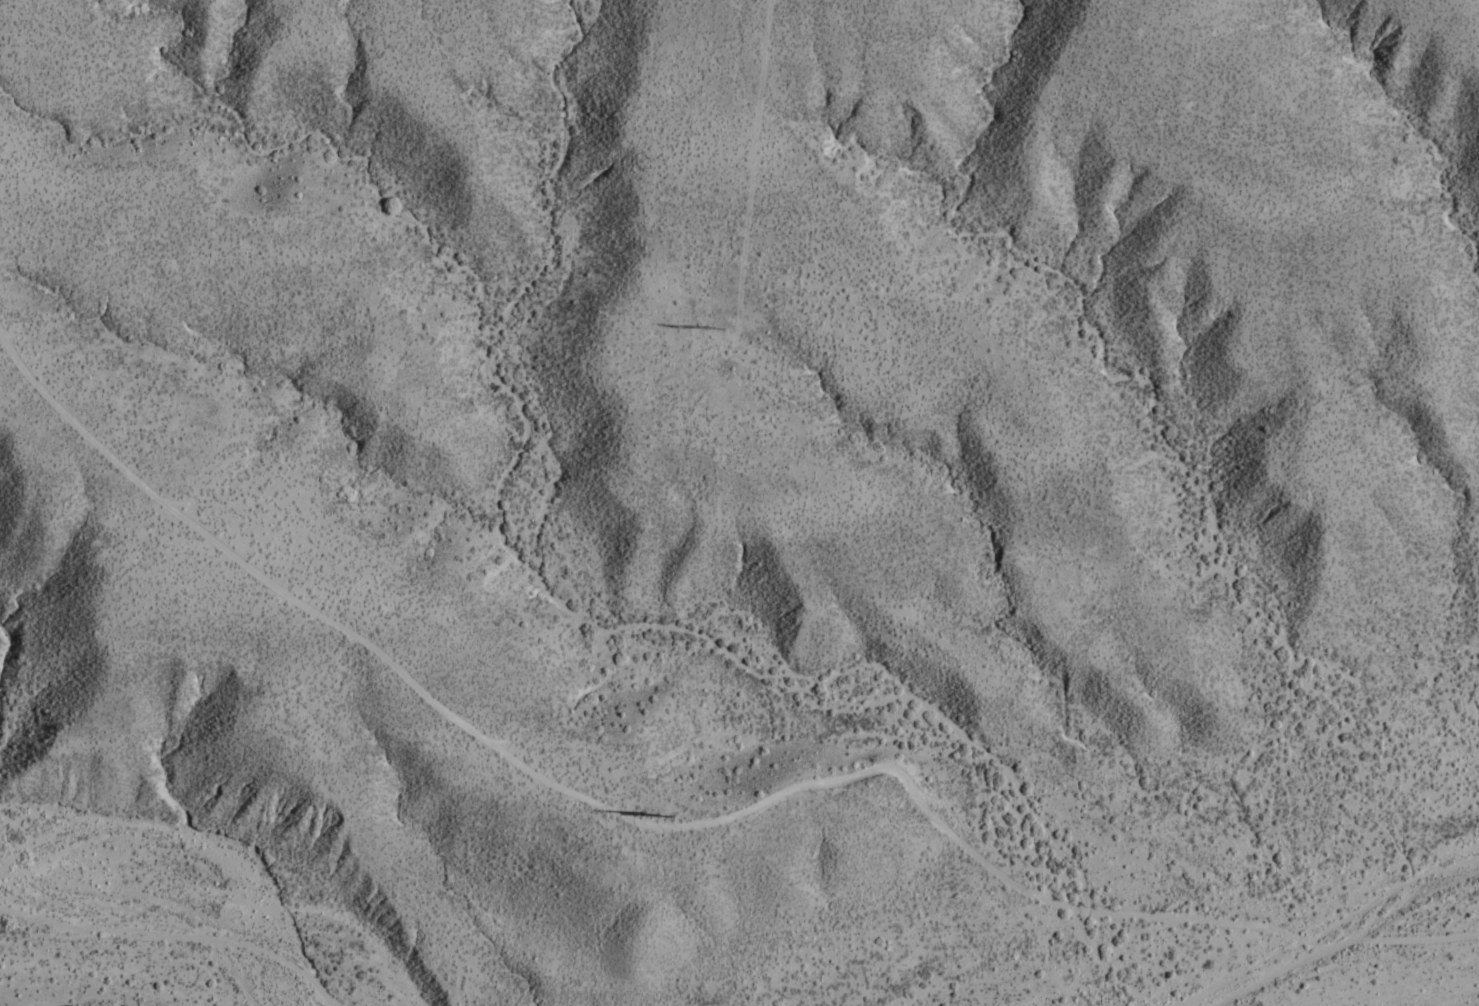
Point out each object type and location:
power tower: (711, 326)
power tower: (653, 814)
road: (690, 817)

